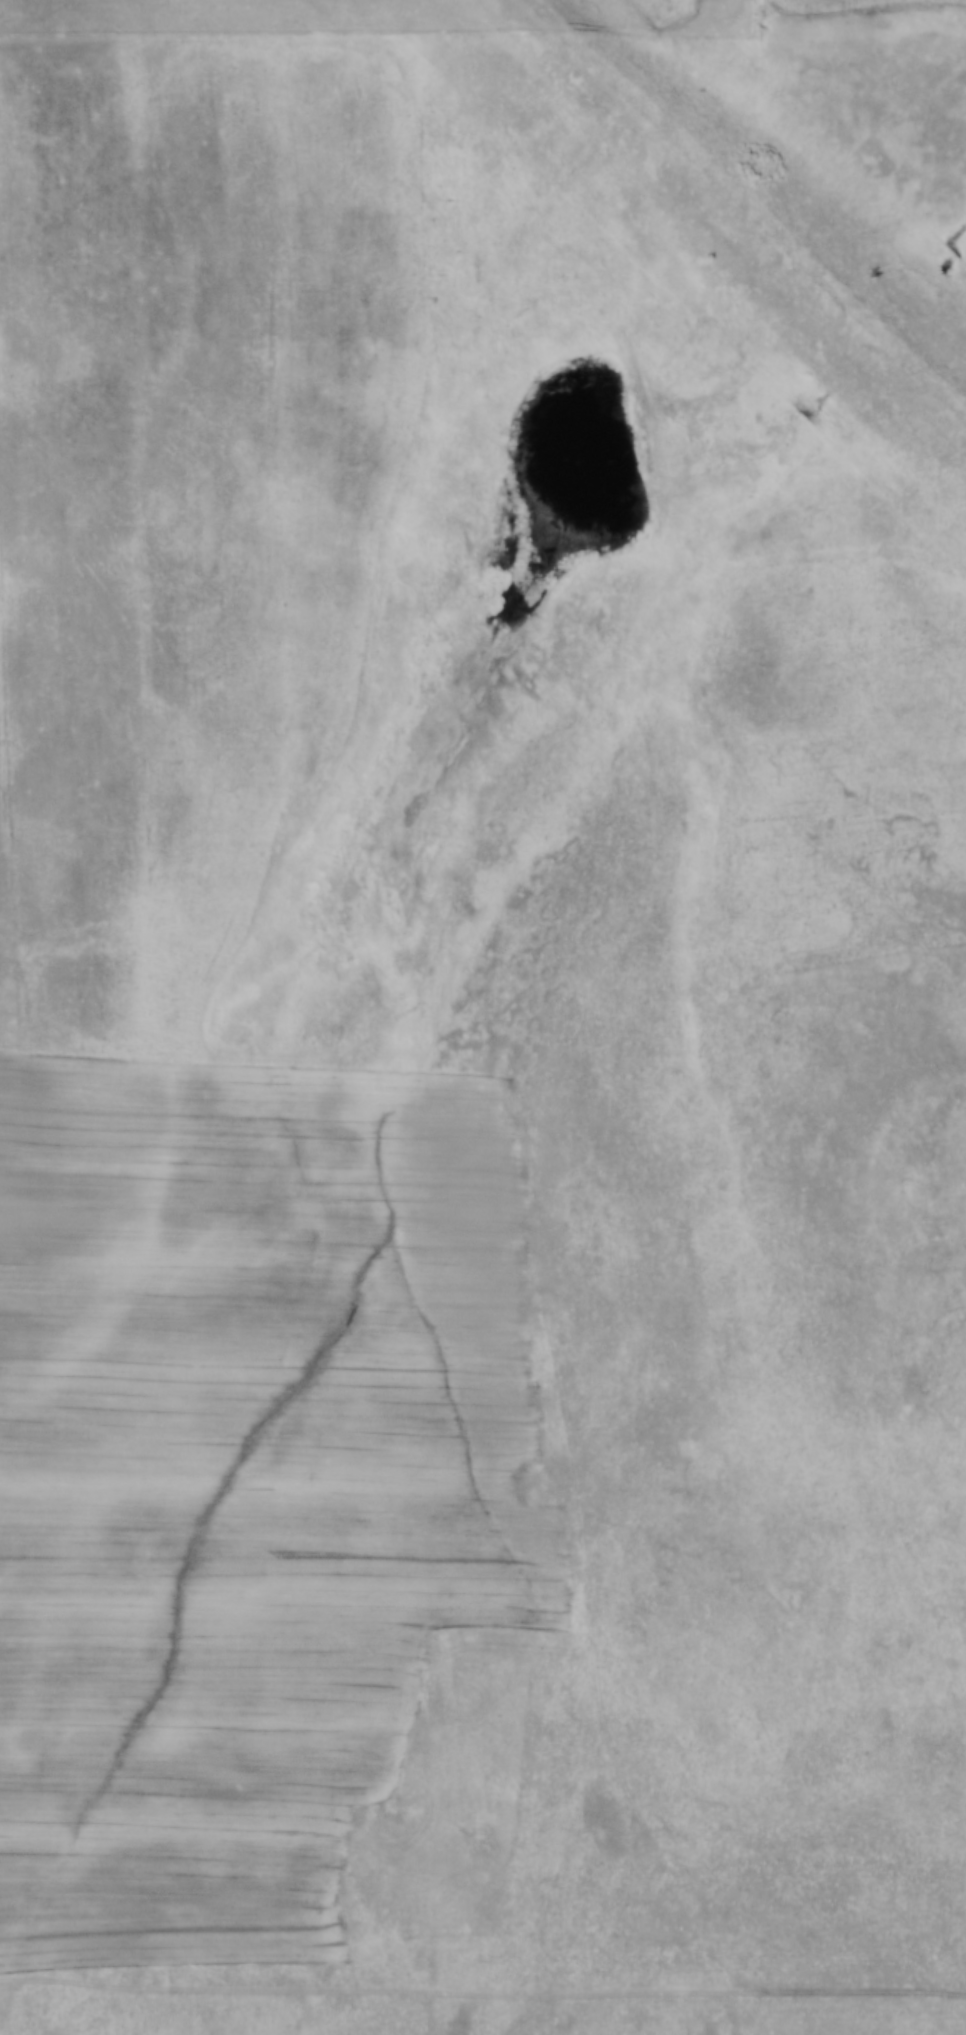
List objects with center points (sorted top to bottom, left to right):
road: (483, 1996)

